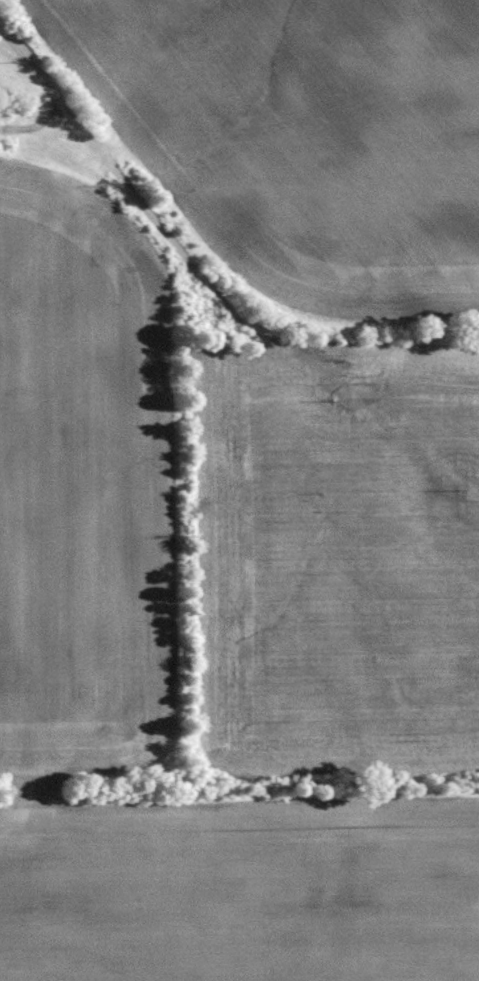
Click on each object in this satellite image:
road: (60, 95)

